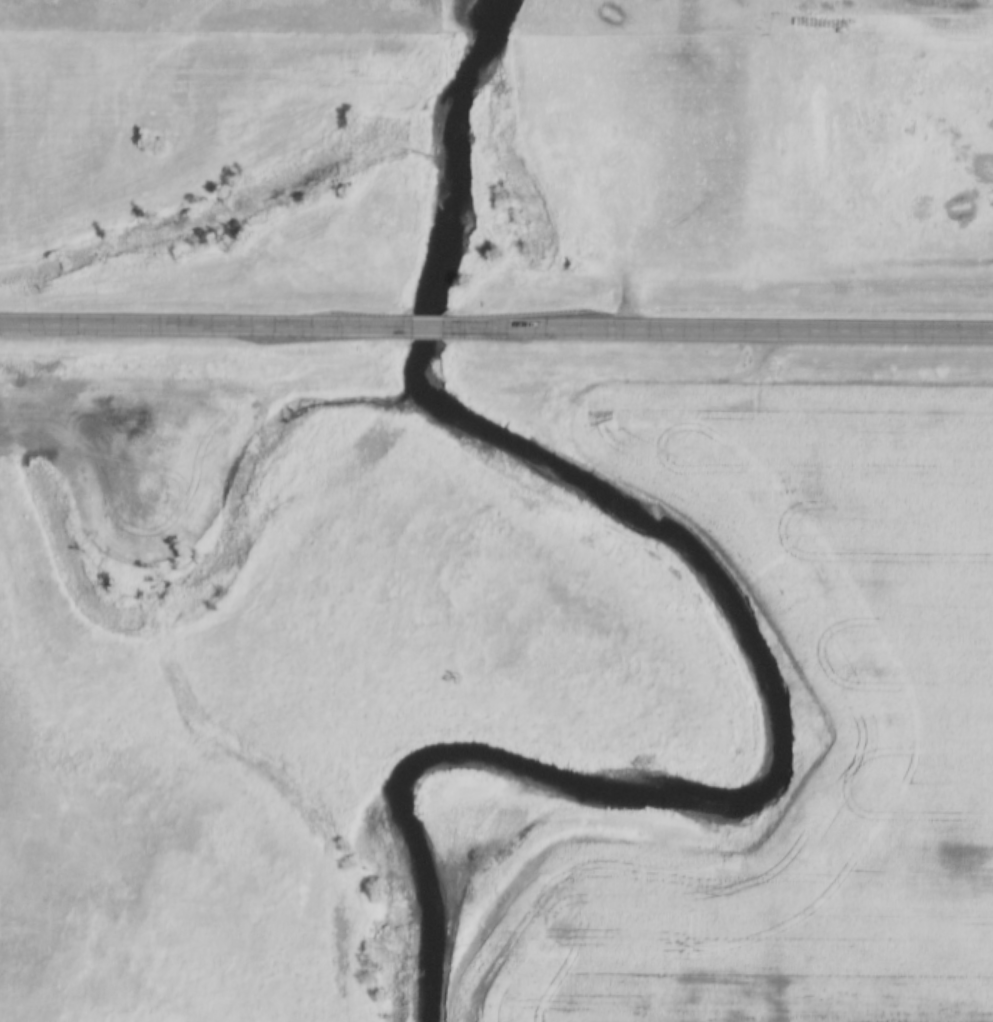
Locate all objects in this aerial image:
road: (205, 326)
road: (427, 328)
road: (718, 330)
river: (733, 601)

